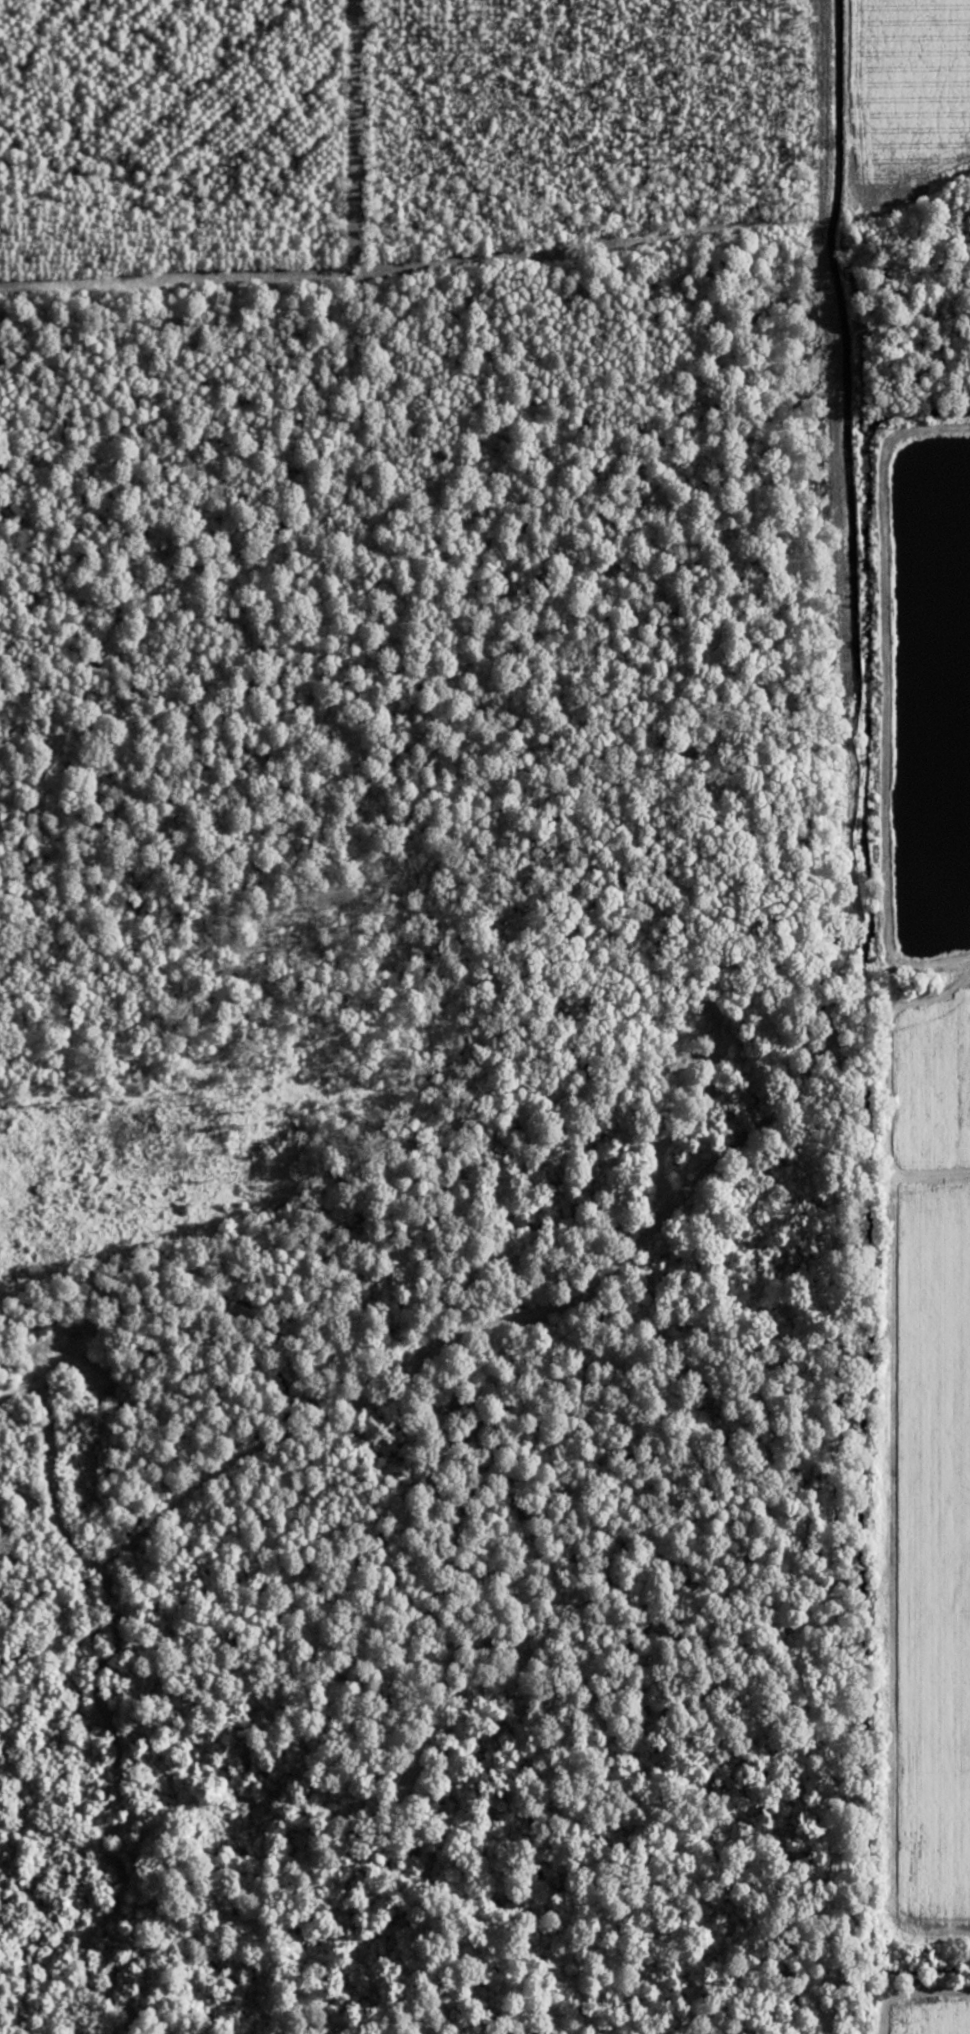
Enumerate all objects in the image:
road: (885, 1080)

